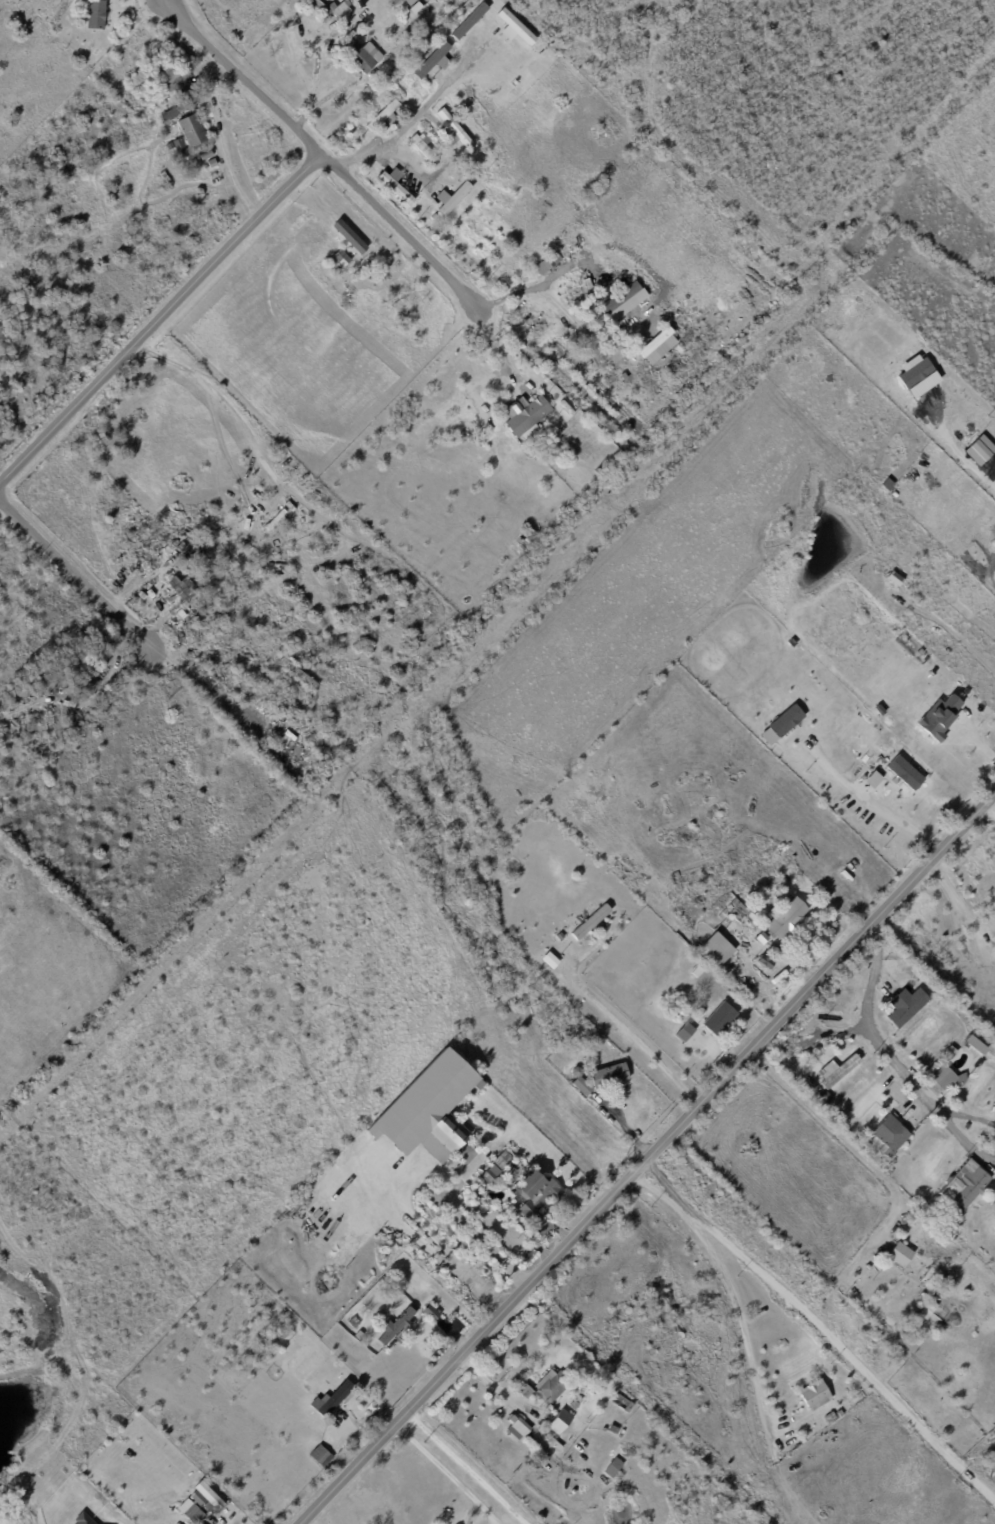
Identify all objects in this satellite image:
road: (153, 2)
road: (154, 2)
road: (156, 2)
building: (411, 2)
building: (417, 8)
building: (340, 9)
building: (96, 14)
building: (434, 20)
building: (417, 22)
building: (468, 22)
building: (513, 28)
building: (413, 39)
building: (73, 50)
building: (81, 58)
building: (361, 58)
building: (435, 61)
building: (402, 64)
building: (149, 75)
building: (388, 76)
building: (179, 83)
building: (370, 91)
road: (436, 95)
building: (168, 114)
building: (386, 116)
building: (192, 130)
building: (454, 130)
building: (176, 148)
road: (384, 149)
building: (424, 149)
road: (317, 152)
building: (205, 154)
building: (212, 163)
building: (166, 177)
building: (396, 186)
building: (452, 198)
building: (348, 236)
building: (340, 260)
building: (392, 261)
building: (545, 266)
building: (368, 280)
road: (524, 291)
building: (622, 302)
building: (416, 303)
road: (160, 318)
building: (601, 322)
road: (493, 345)
building: (657, 346)
building: (916, 375)
building: (614, 388)
building: (529, 417)
building: (979, 450)
road: (993, 470)
building: (228, 519)
building: (275, 520)
building: (530, 535)
building: (184, 541)
building: (135, 542)
building: (193, 572)
building: (206, 577)
road: (71, 581)
building: (181, 589)
building: (89, 661)
building: (94, 681)
road: (205, 682)
building: (939, 715)
building: (75, 719)
building: (781, 724)
building: (285, 733)
building: (904, 772)
road: (992, 800)
road: (898, 819)
building: (708, 824)
building: (703, 839)
building: (772, 874)
building: (785, 881)
road: (954, 902)
building: (742, 915)
building: (787, 918)
building: (592, 922)
building: (560, 936)
building: (714, 949)
building: (993, 952)
building: (692, 962)
building: (909, 1009)
building: (713, 1018)
road: (869, 1029)
building: (684, 1031)
road: (626, 1034)
road: (809, 1043)
building: (973, 1044)
building: (709, 1046)
building: (950, 1054)
building: (837, 1070)
building: (610, 1075)
building: (944, 1076)
building: (581, 1082)
building: (825, 1099)
building: (430, 1105)
road: (968, 1117)
building: (891, 1135)
road: (961, 1143)
road: (644, 1157)
building: (503, 1159)
building: (888, 1170)
building: (492, 1173)
building: (969, 1189)
building: (536, 1191)
road: (399, 1201)
road: (463, 1221)
building: (924, 1221)
building: (957, 1225)
road: (426, 1230)
road: (416, 1238)
building: (942, 1241)
road: (734, 1251)
building: (909, 1260)
road: (845, 1273)
road: (474, 1285)
building: (951, 1292)
building: (929, 1310)
building: (874, 1311)
building: (431, 1312)
building: (265, 1315)
building: (355, 1322)
building: (890, 1323)
building: (396, 1325)
building: (282, 1331)
road: (744, 1334)
building: (900, 1350)
building: (552, 1385)
building: (856, 1385)
building: (322, 1386)
building: (525, 1390)
building: (816, 1396)
building: (334, 1398)
building: (576, 1403)
building: (629, 1406)
building: (561, 1422)
building: (518, 1426)
building: (307, 1427)
building: (319, 1454)
building: (993, 1455)
building: (992, 1462)
road: (473, 1463)
road: (463, 1467)
building: (614, 1467)
road: (449, 1471)
building: (207, 1497)
building: (192, 1510)
building: (92, 1522)

